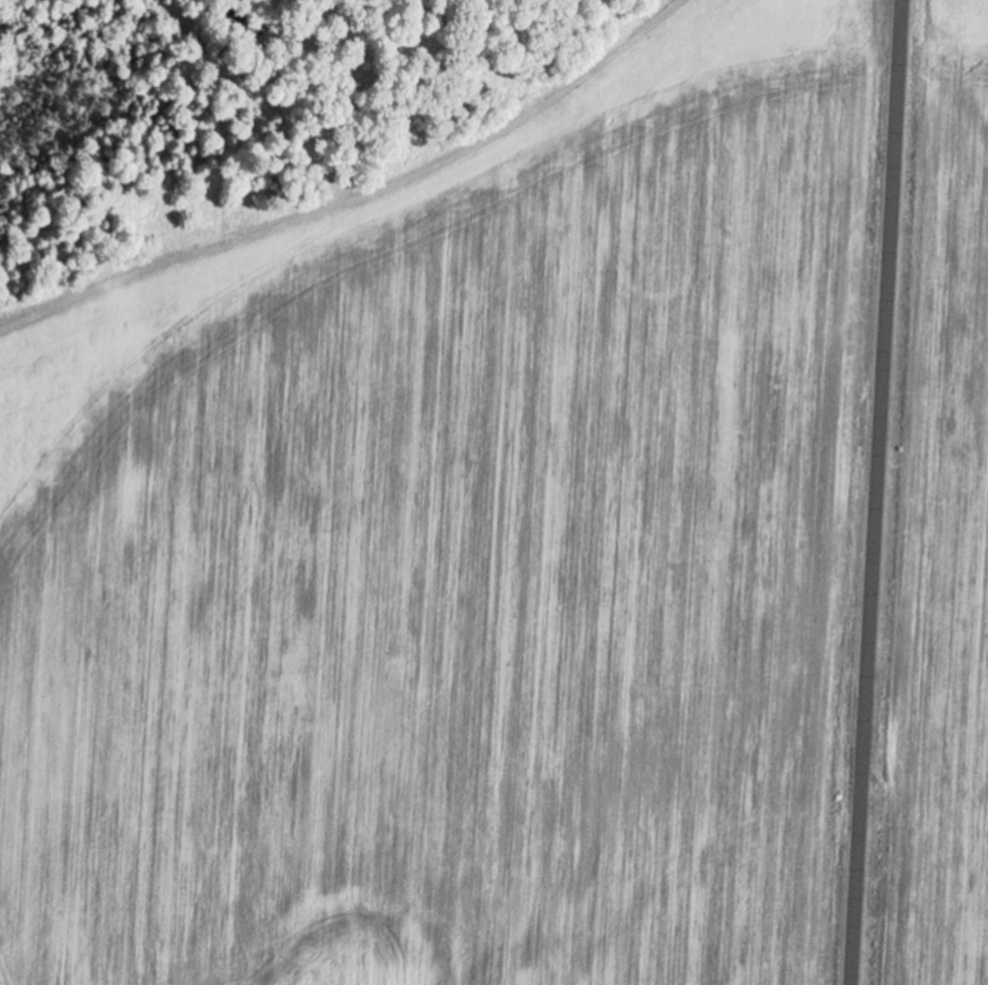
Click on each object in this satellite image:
road: (878, 492)
crop: (938, 536)
crop: (461, 550)

